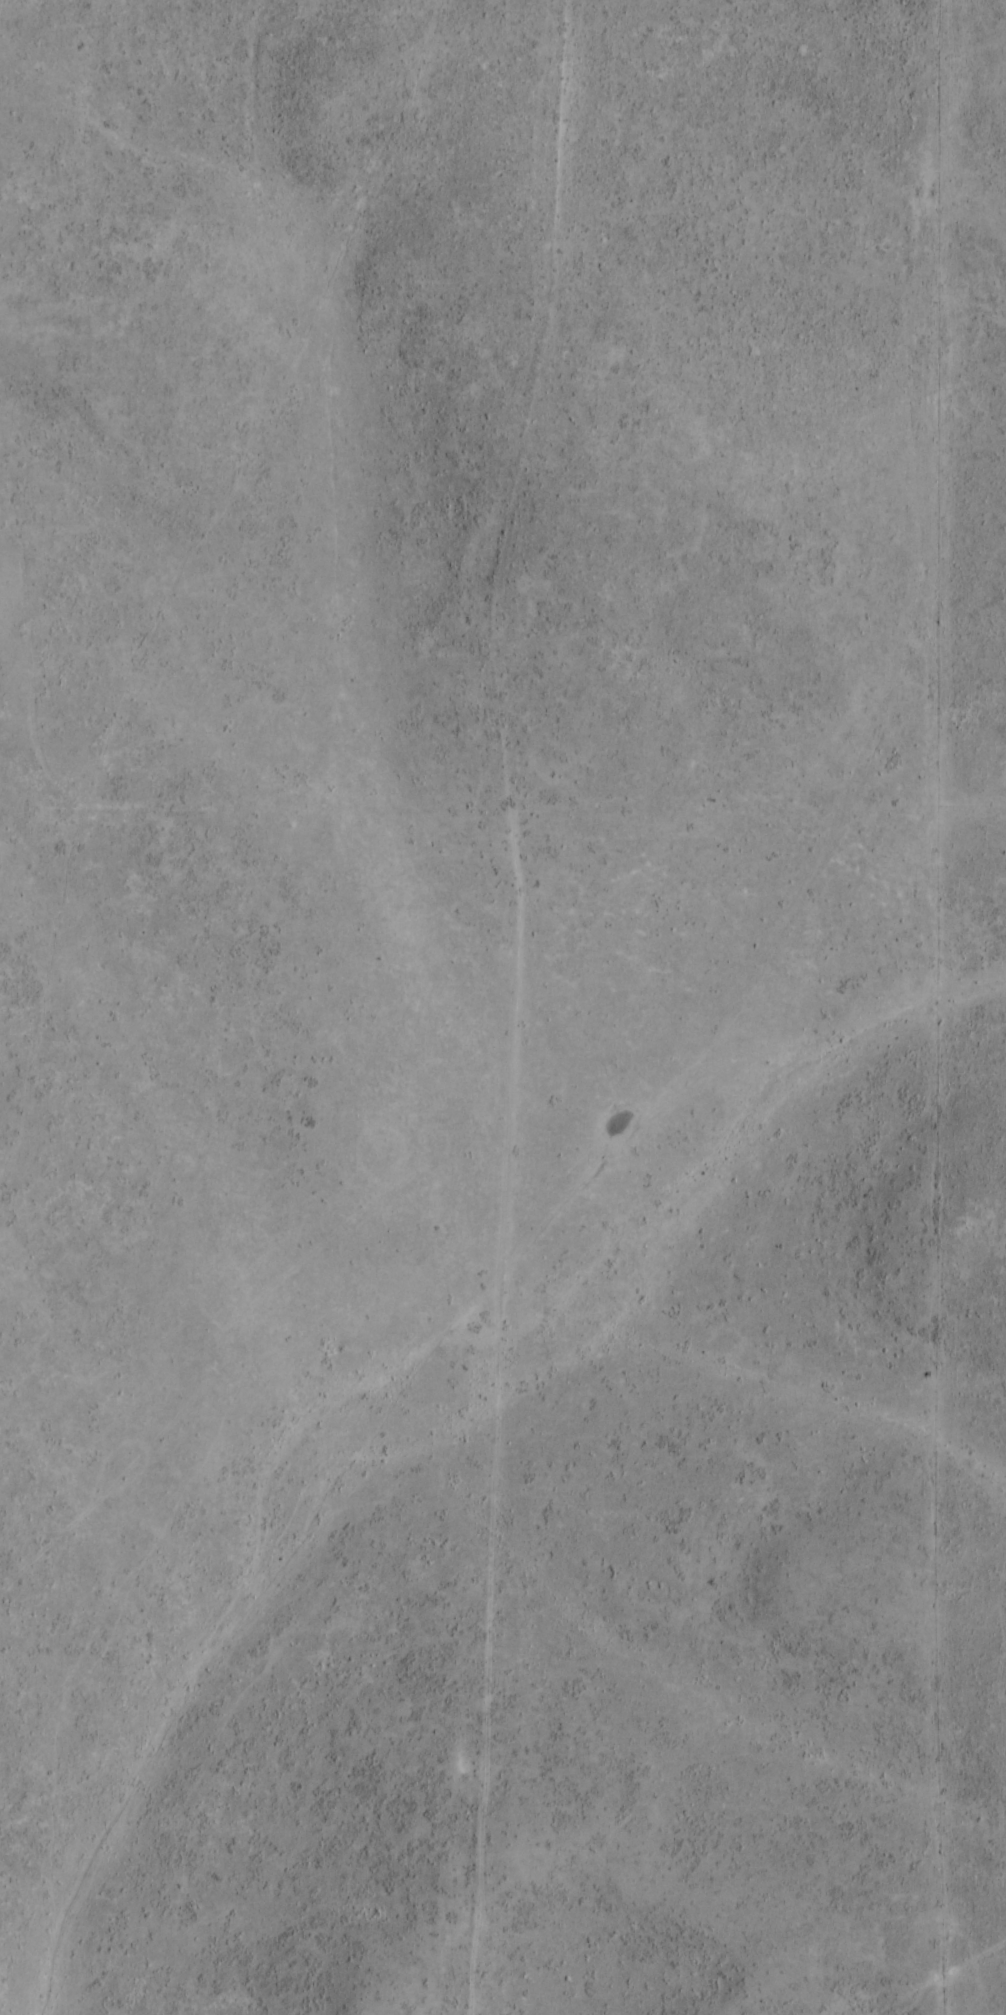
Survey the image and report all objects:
road: (926, 1959)

